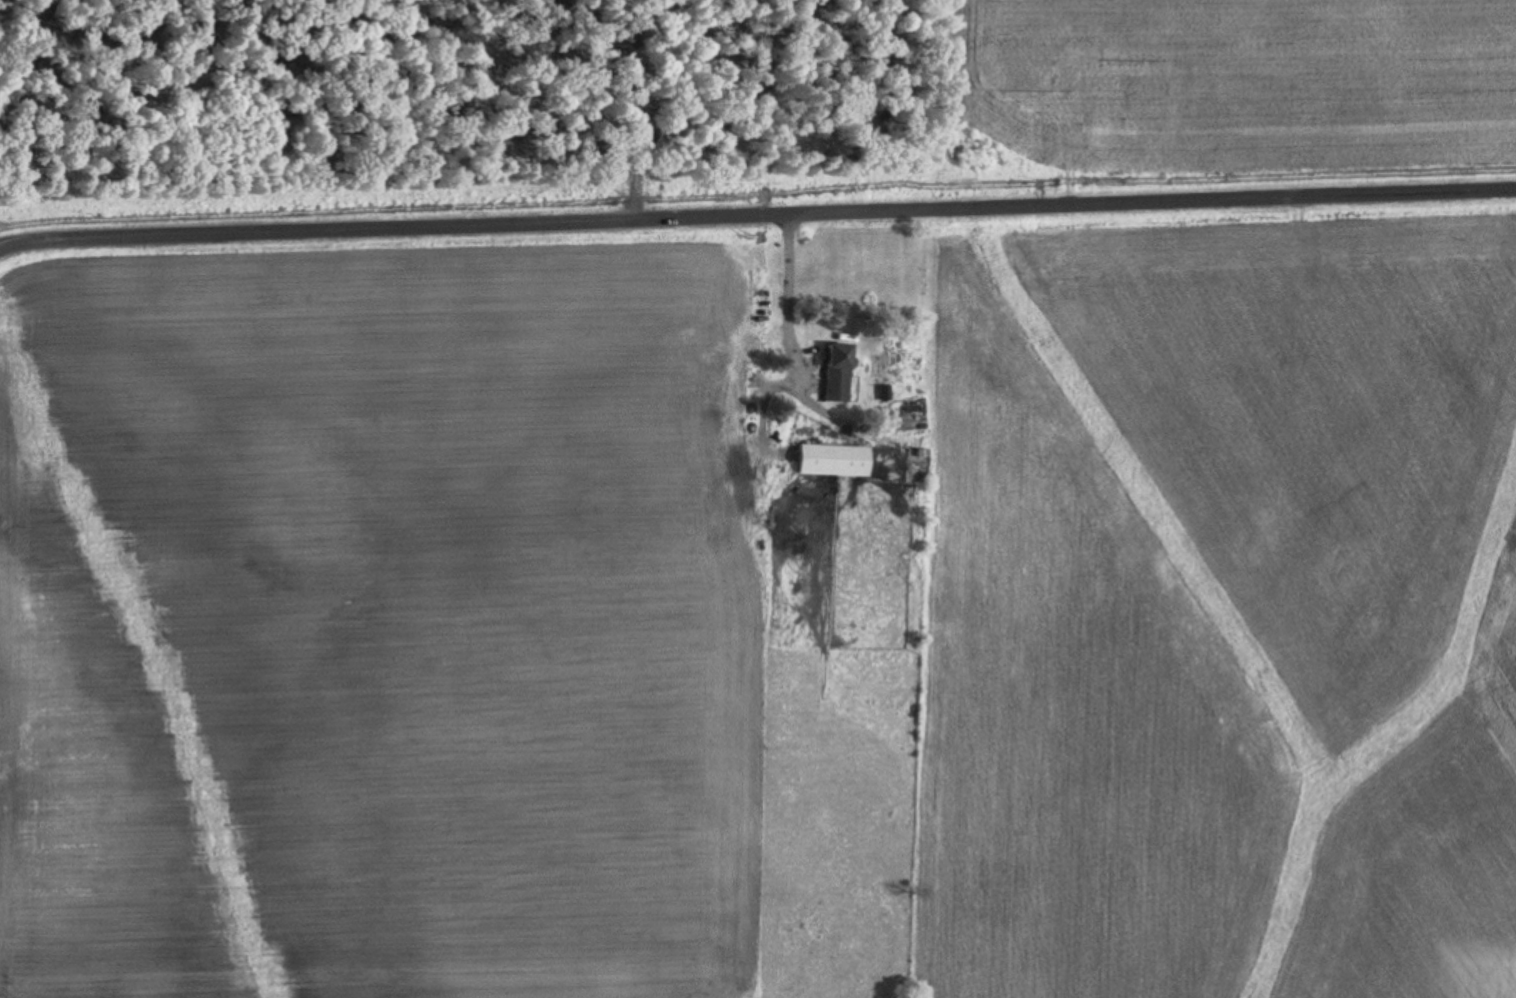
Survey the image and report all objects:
road: (763, 189)
road: (6, 241)
road: (790, 292)
building: (836, 372)
building: (831, 460)

